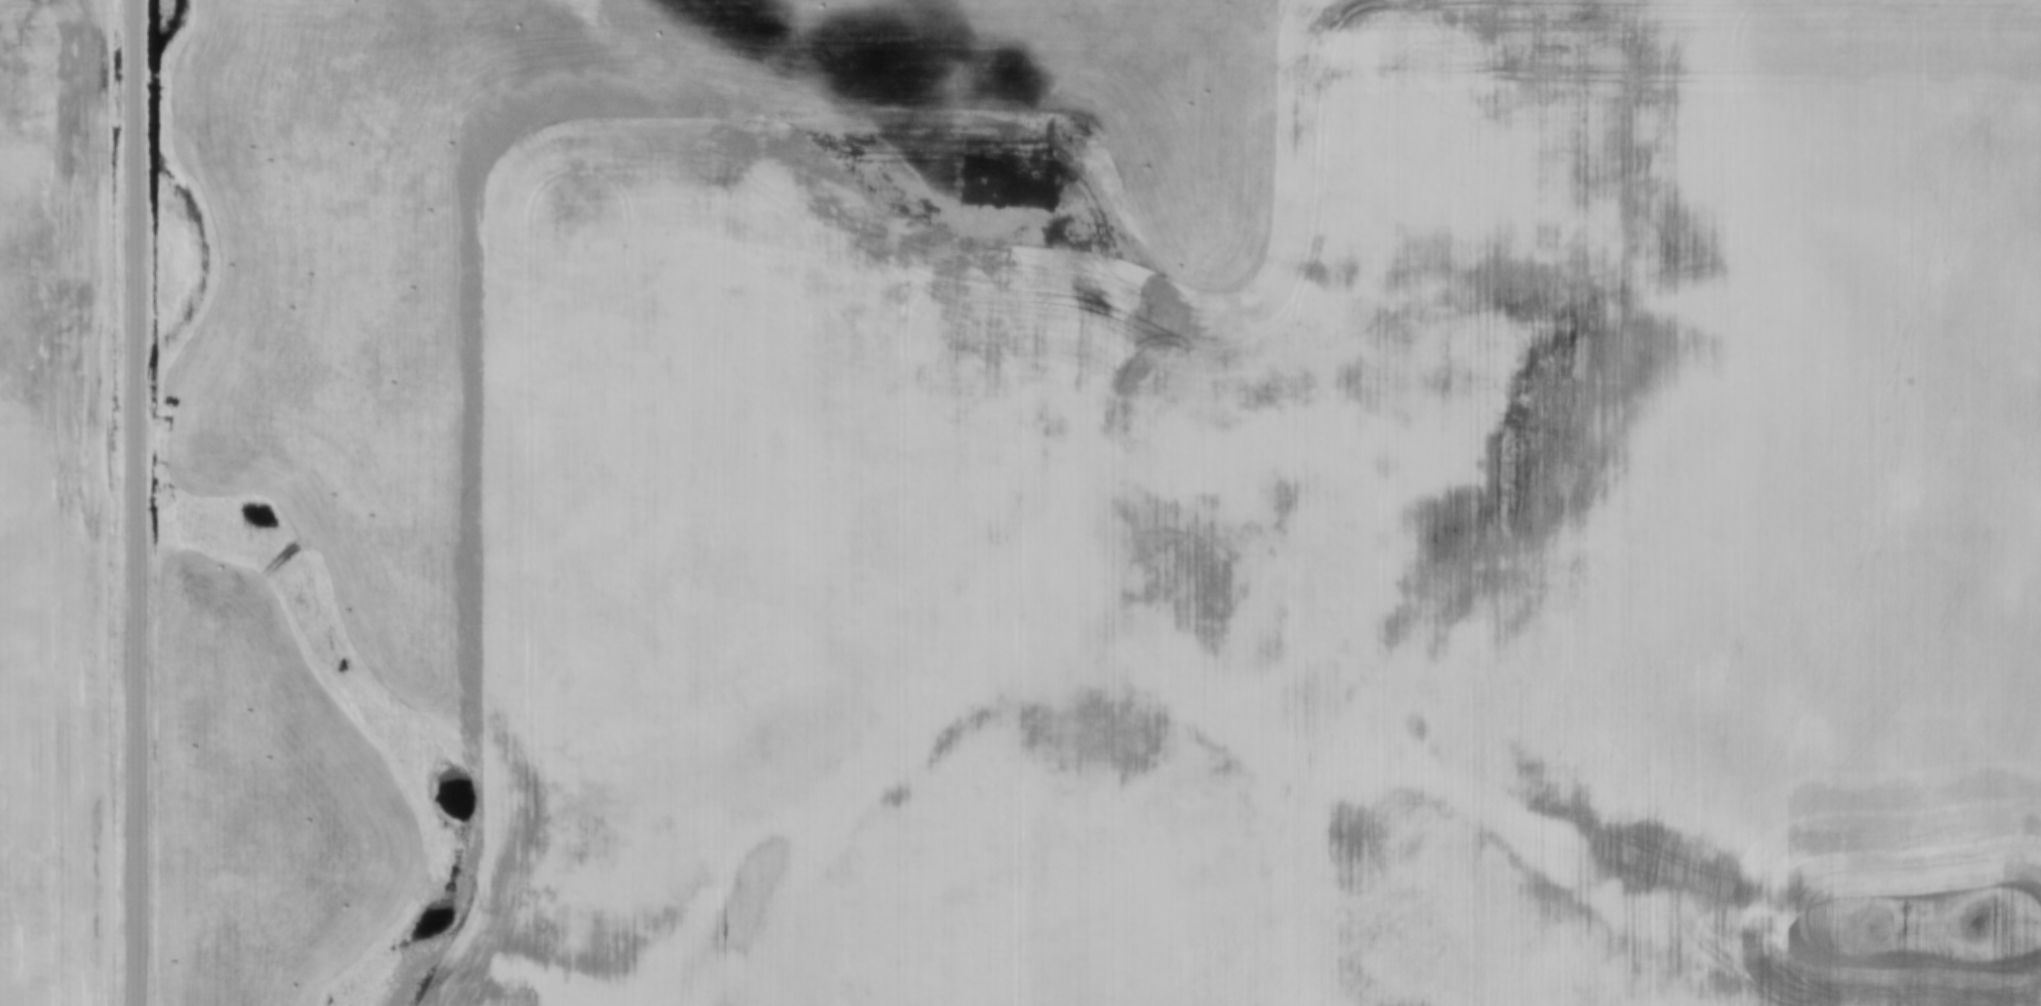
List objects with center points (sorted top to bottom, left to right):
road: (134, 502)

